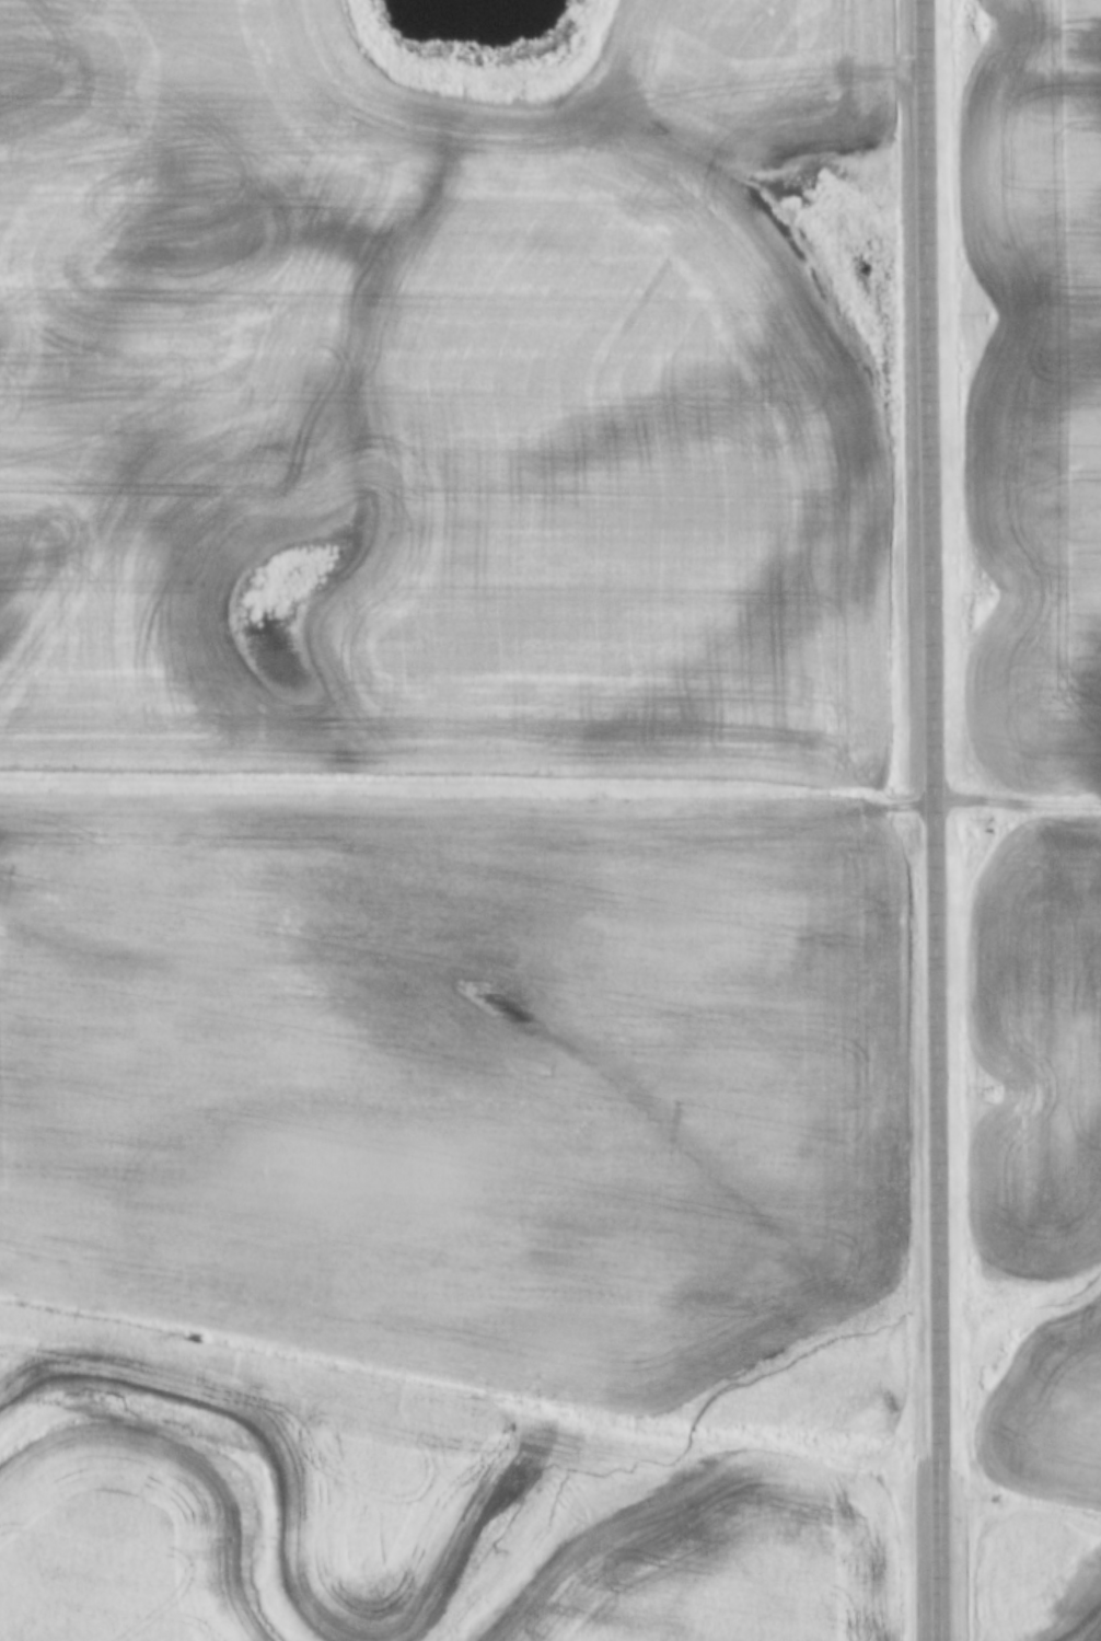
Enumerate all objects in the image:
road: (941, 820)

